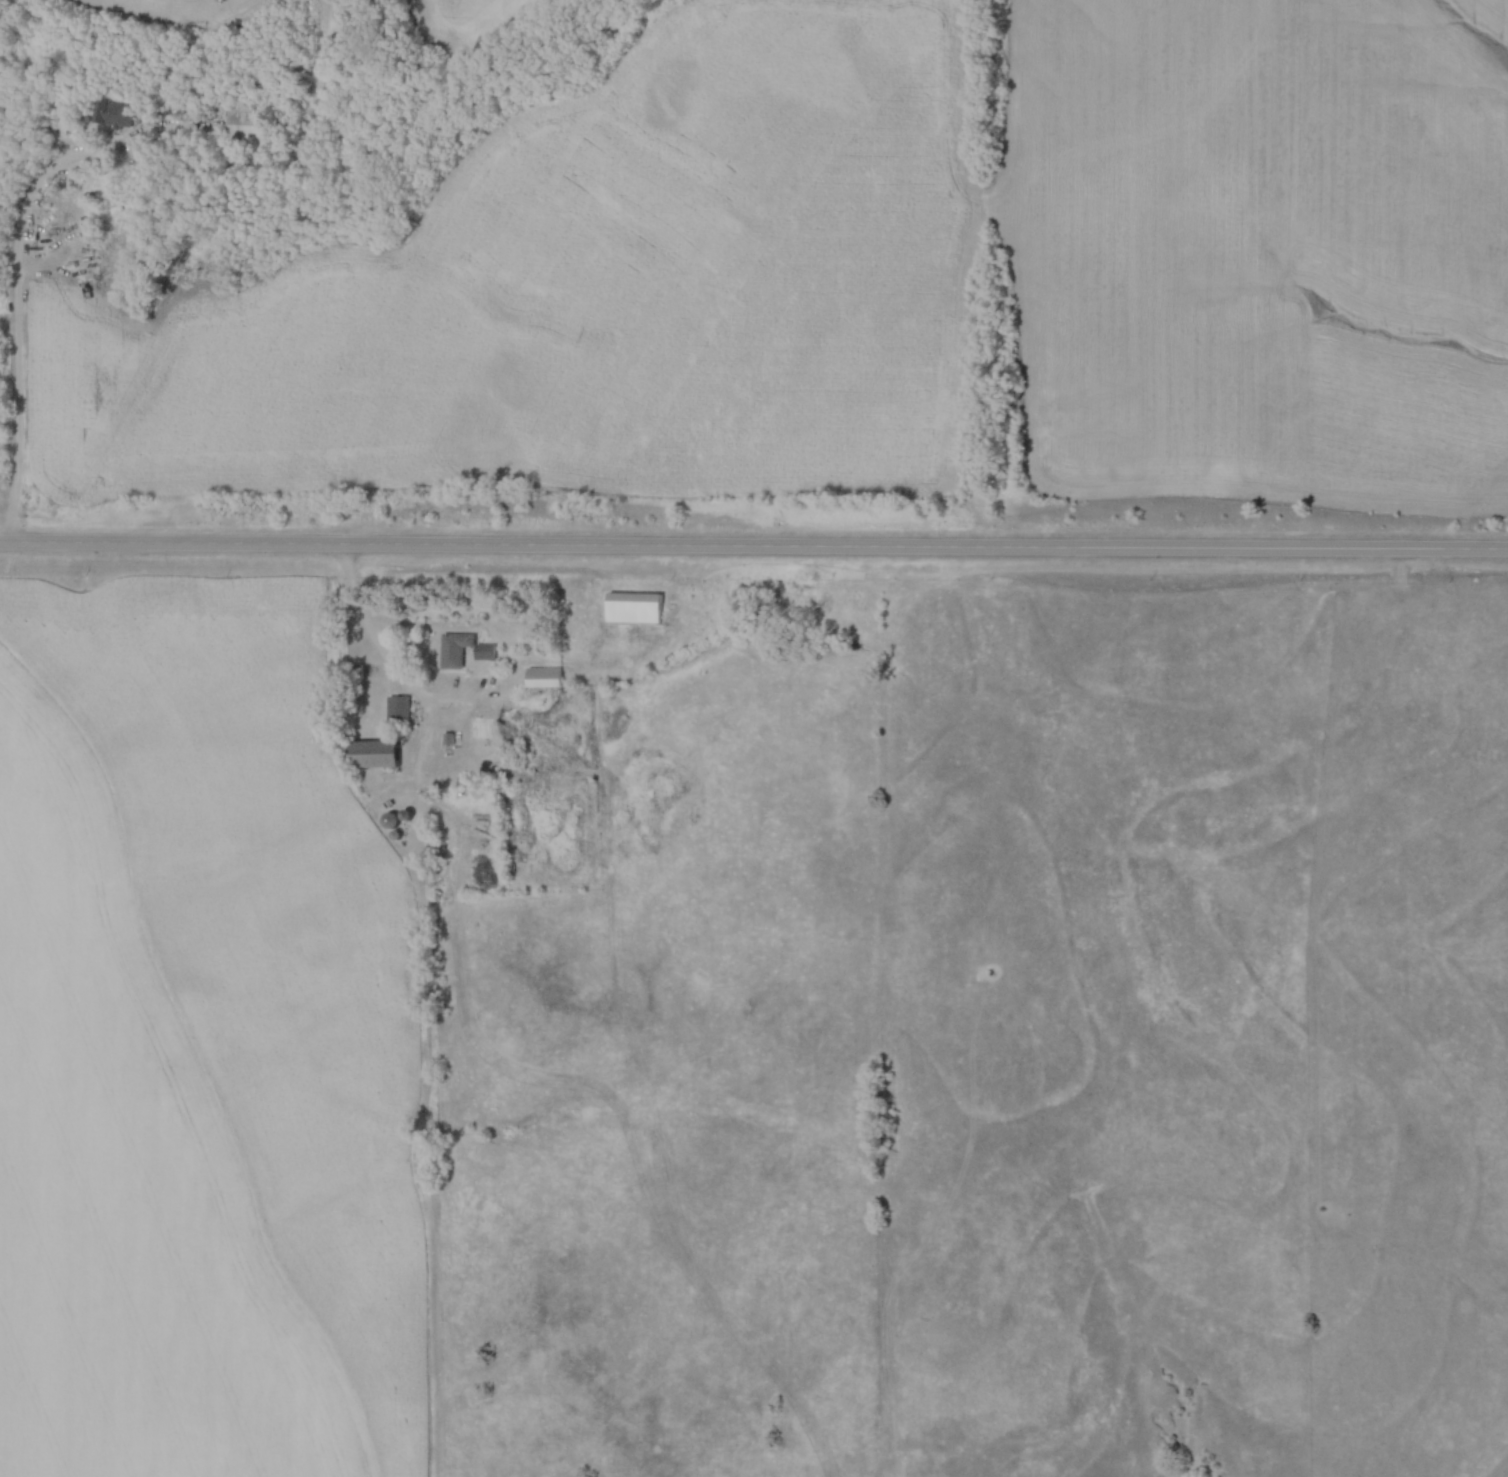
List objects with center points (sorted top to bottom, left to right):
crop: (171, 9)
crop: (468, 19)
building: (115, 113)
building: (250, 125)
road: (12, 272)
road: (753, 553)
building: (636, 608)
road: (363, 612)
building: (464, 651)
building: (355, 675)
building: (545, 678)
road: (445, 703)
building: (400, 711)
building: (378, 755)

